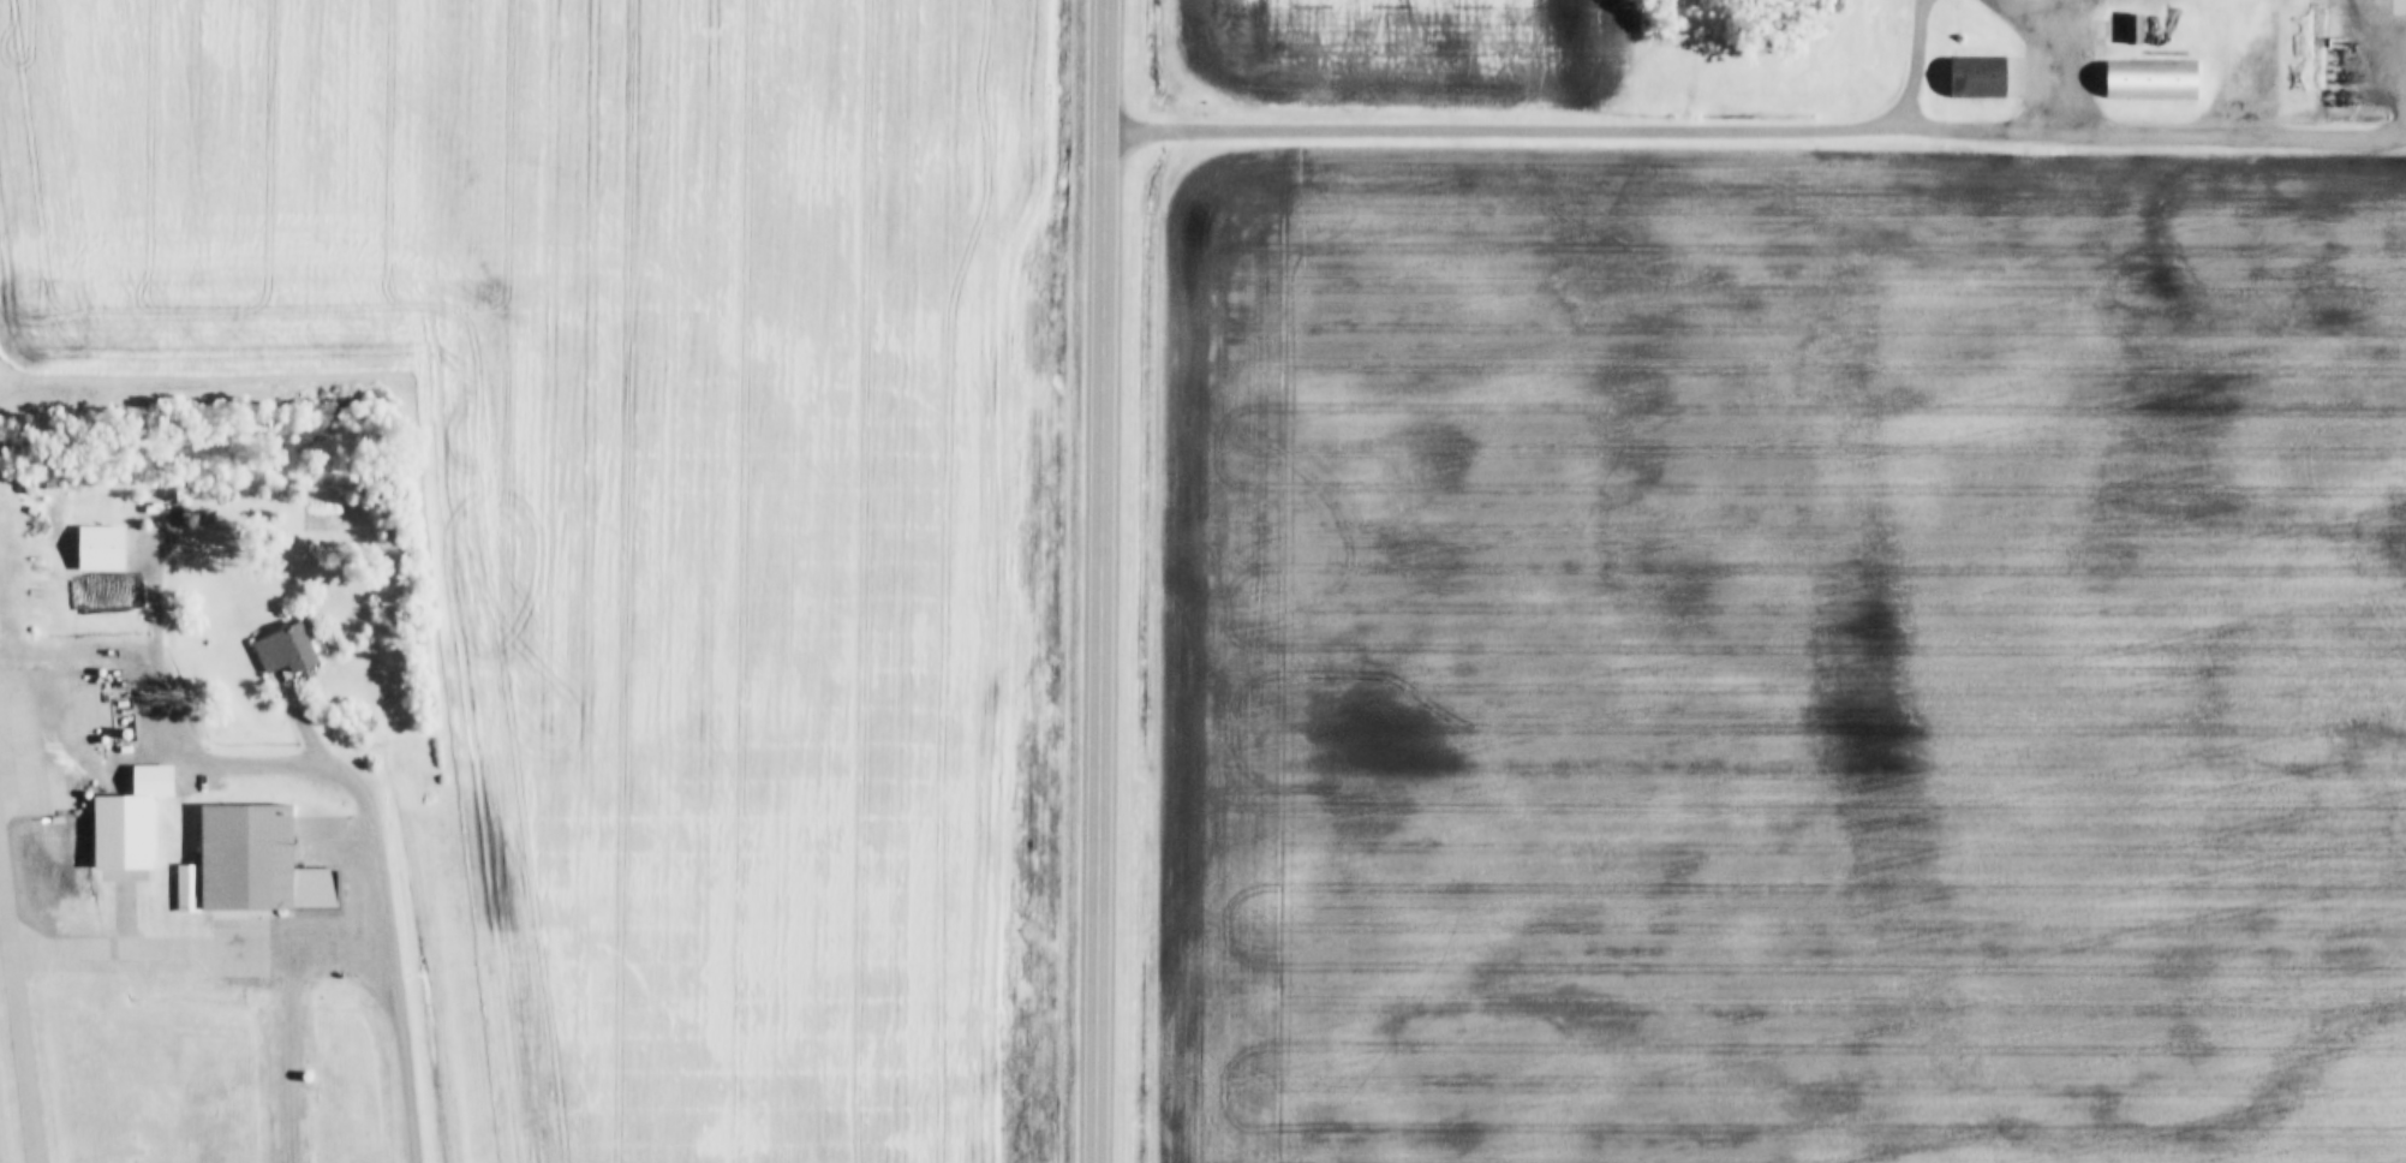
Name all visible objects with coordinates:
building: (2101, 26)
silo: (2101, 26)
building: (2133, 28)
road: (2052, 49)
road: (1911, 65)
road: (2402, 72)
building: (1976, 76)
building: (2149, 78)
road: (1754, 129)
road: (2402, 138)
building: (101, 545)
road: (1100, 580)
road: (163, 645)
building: (287, 648)
airport: (227, 779)
road: (360, 793)
building: (130, 818)
building: (251, 863)
road: (42, 866)
road: (328, 947)
airport taxiway: (127, 949)
road: (341, 964)
airport runway: (23, 980)
building: (302, 1001)
building: (312, 1057)
silo: (312, 1057)
road: (294, 1063)
building: (314, 1069)
silo: (314, 1069)
building: (315, 1083)
silo: (315, 1083)

